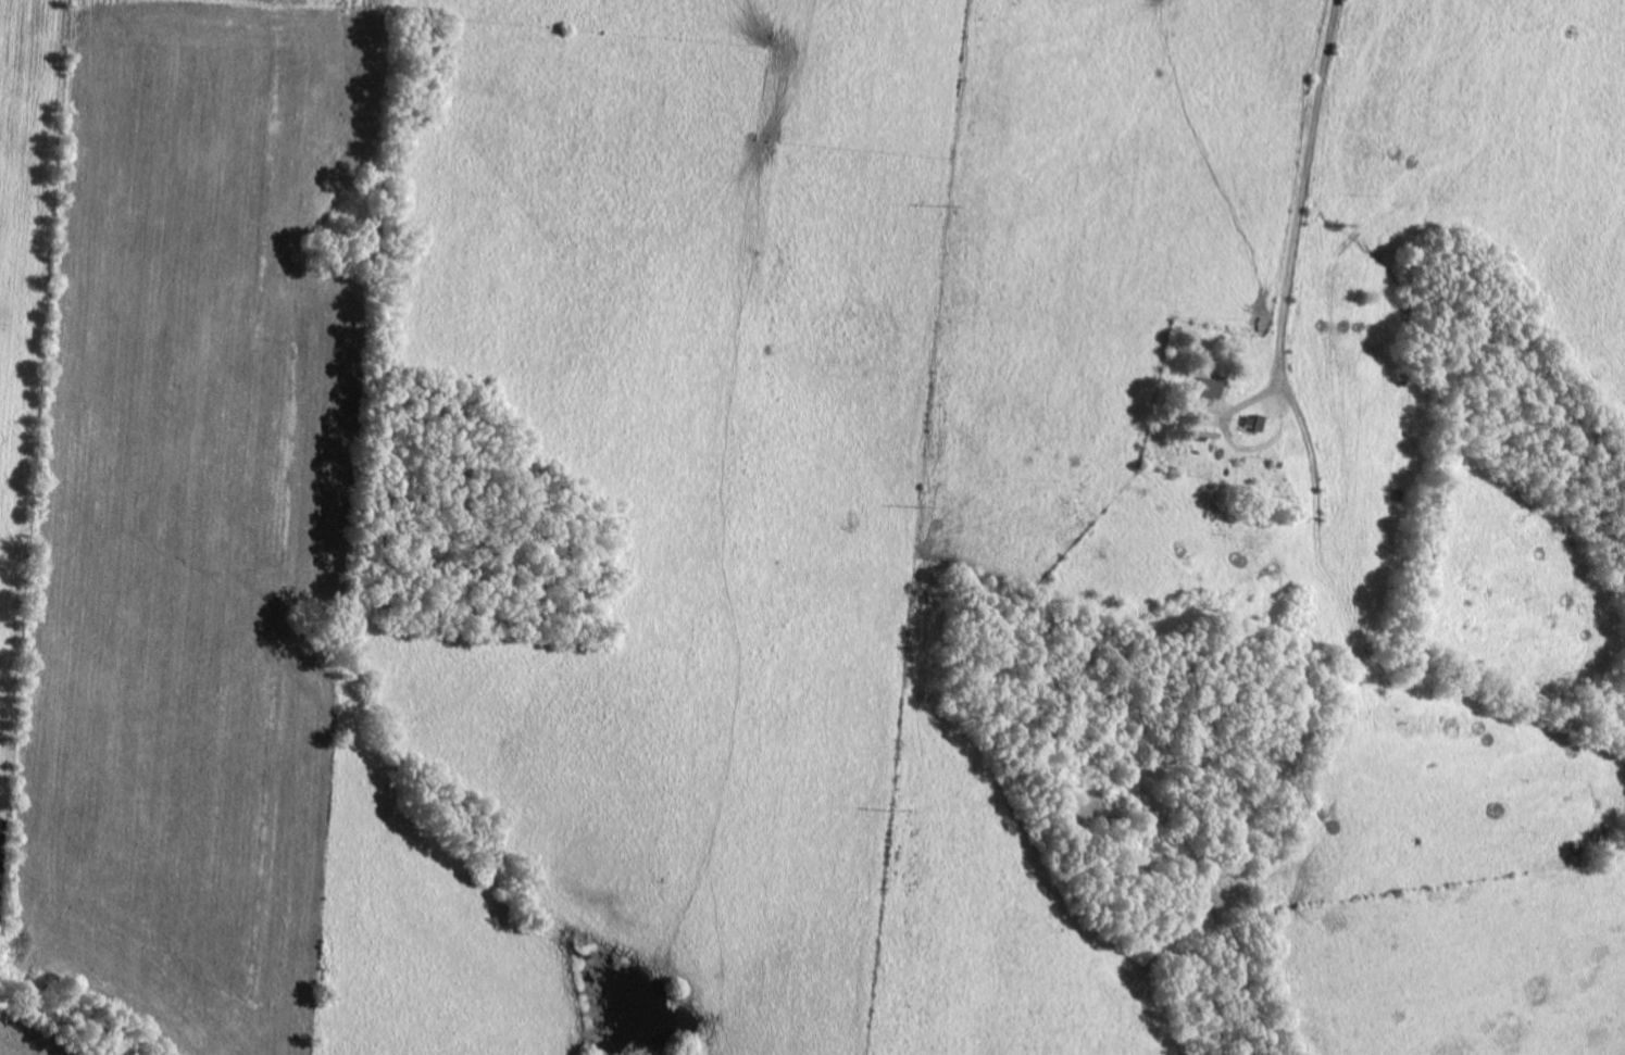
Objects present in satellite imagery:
road: (1297, 217)
building: (1205, 386)
building: (1250, 420)

